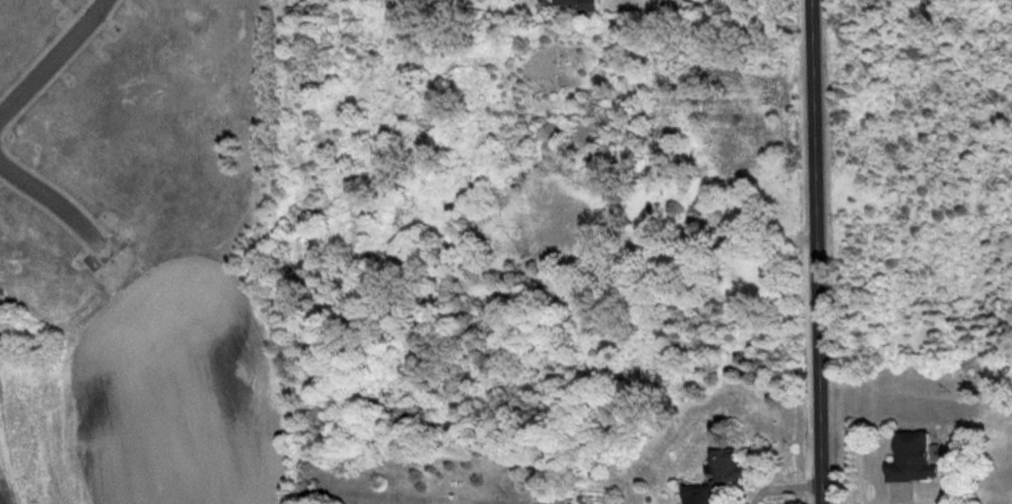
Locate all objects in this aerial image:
building: (580, 4)
road: (53, 59)
road: (58, 202)
road: (742, 242)
road: (814, 252)
crop: (141, 390)
building: (911, 458)
building: (725, 465)
road: (782, 488)
building: (701, 494)

